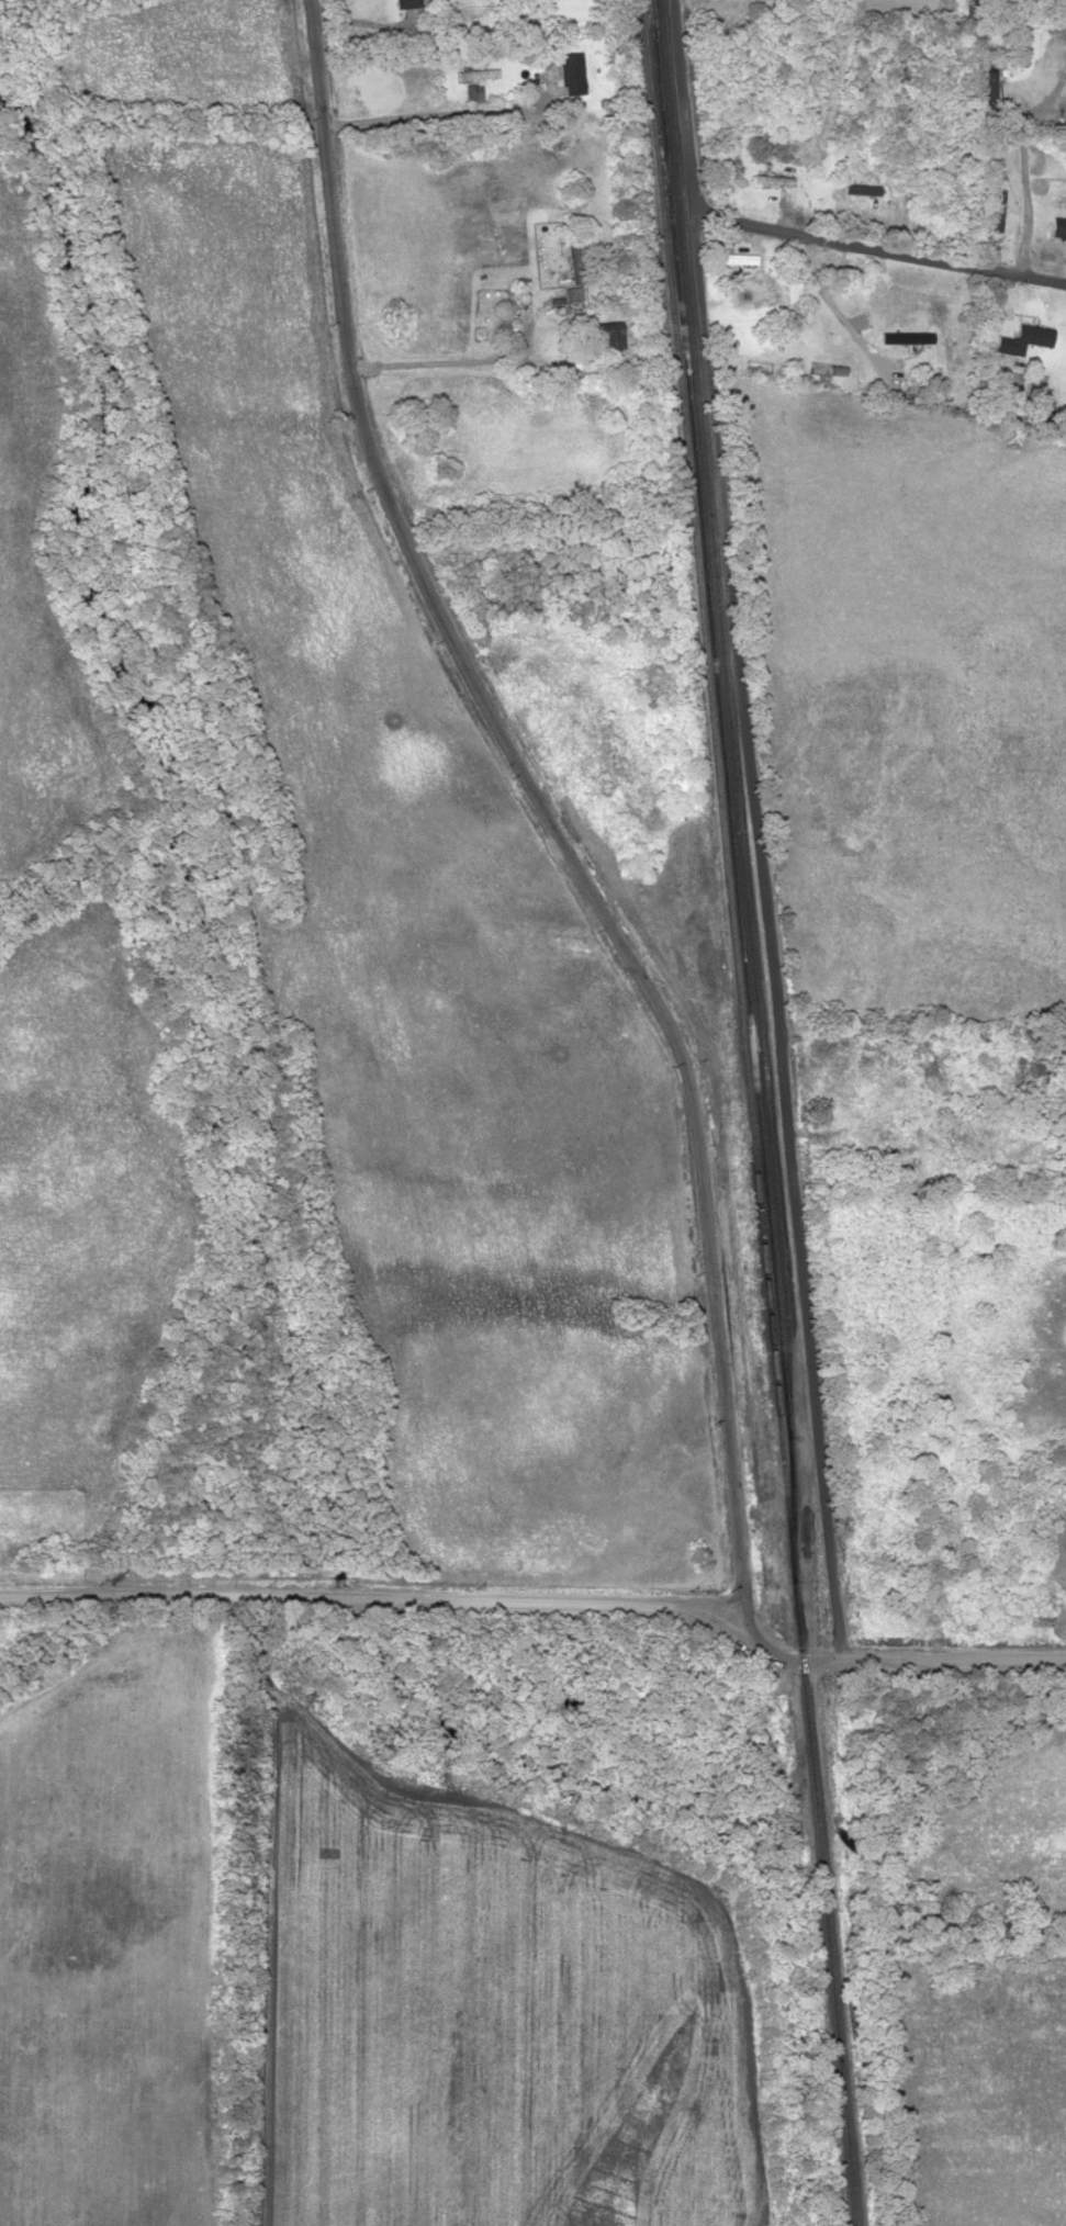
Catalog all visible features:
building: (406, 3)
road: (314, 41)
crop: (188, 48)
building: (572, 72)
building: (478, 74)
building: (997, 205)
building: (1058, 228)
road: (878, 246)
building: (572, 258)
building: (848, 267)
building: (574, 294)
building: (504, 317)
building: (609, 335)
building: (1030, 336)
crop: (35, 606)
railway: (738, 811)
road: (755, 829)
road: (560, 840)
crop: (425, 951)
railway: (750, 1112)
building: (888, 1128)
crop: (77, 1218)
road: (368, 1587)
road: (890, 1656)

